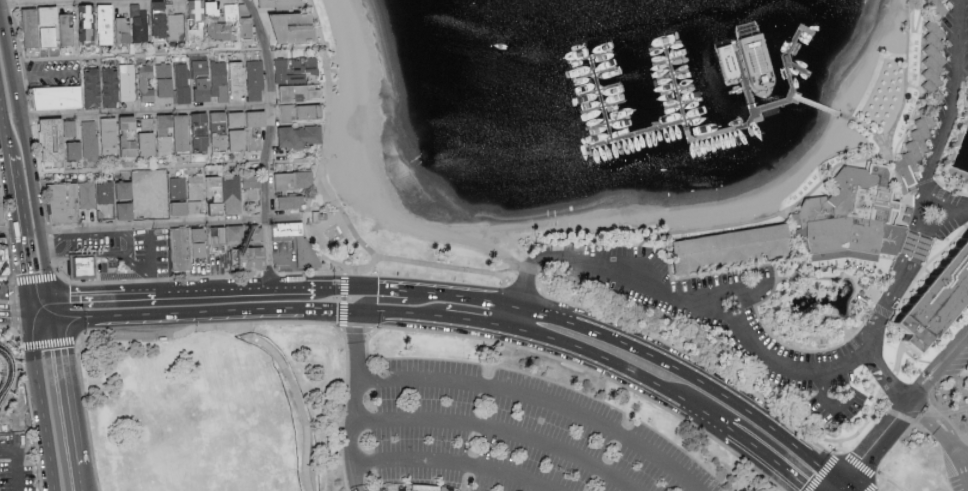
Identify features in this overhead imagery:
road: (80, 3)
building: (281, 4)
building: (933, 6)
building: (213, 8)
building: (231, 12)
building: (196, 20)
building: (88, 23)
building: (106, 24)
building: (165, 24)
building: (134, 26)
building: (47, 27)
building: (296, 27)
building: (217, 31)
road: (166, 55)
building: (930, 60)
building: (295, 70)
road: (43, 74)
building: (165, 80)
building: (211, 80)
building: (146, 83)
building: (183, 84)
pier: (792, 85)
building: (110, 86)
building: (300, 93)
building: (59, 98)
pier: (604, 98)
building: (310, 111)
road: (145, 113)
pier: (835, 114)
road: (1, 120)
pier: (756, 121)
building: (130, 122)
road: (949, 123)
road: (19, 124)
pier: (690, 126)
road: (4, 129)
building: (247, 129)
pier: (651, 131)
building: (189, 134)
building: (299, 137)
building: (110, 138)
building: (51, 140)
road: (269, 143)
building: (130, 147)
building: (913, 148)
road: (175, 169)
road: (5, 177)
building: (294, 180)
building: (160, 183)
road: (13, 193)
building: (106, 193)
building: (237, 193)
building: (134, 199)
building: (294, 202)
building: (65, 205)
road: (340, 207)
building: (186, 208)
road: (950, 214)
building: (1, 216)
building: (852, 218)
road: (173, 225)
road: (304, 226)
building: (286, 231)
road: (9, 233)
road: (95, 234)
building: (235, 235)
road: (38, 242)
road: (20, 246)
building: (198, 246)
building: (182, 249)
road: (913, 250)
building: (914, 250)
road: (98, 254)
building: (242, 258)
road: (150, 261)
building: (3, 263)
building: (81, 267)
road: (44, 277)
road: (220, 278)
road: (25, 279)
road: (12, 284)
road: (355, 289)
traffic signals: (379, 290)
road: (403, 292)
road: (244, 293)
road: (526, 293)
road: (743, 294)
road: (711, 295)
road: (111, 298)
road: (467, 298)
road: (14, 299)
building: (935, 299)
traffic signals: (29, 300)
road: (39, 300)
road: (376, 300)
traffic signals: (378, 300)
traffic signals: (50, 301)
road: (30, 309)
road: (52, 310)
traffic signals: (338, 312)
road: (248, 315)
road: (342, 317)
road: (15, 318)
traffic signals: (31, 319)
road: (42, 319)
traffic signals: (54, 320)
road: (480, 322)
road: (212, 327)
traffic signals: (359, 334)
road: (48, 344)
road: (748, 344)
road: (359, 347)
theme park: (12, 364)
road: (629, 370)
road: (591, 372)
road: (724, 375)
road: (695, 376)
road: (65, 392)
road: (297, 396)
road: (537, 399)
road: (30, 403)
road: (43, 404)
road: (904, 408)
road: (837, 409)
road: (921, 414)
park: (379, 416)
parking lot: (498, 435)
road: (360, 437)
road: (502, 437)
road: (841, 448)
road: (961, 452)
road: (845, 457)
road: (773, 459)
parking lot: (16, 463)
road: (16, 464)
road: (455, 464)
parking lot: (956, 465)
road: (79, 478)
road: (890, 483)
traffic signals: (845, 485)
road: (842, 488)
road: (848, 488)

